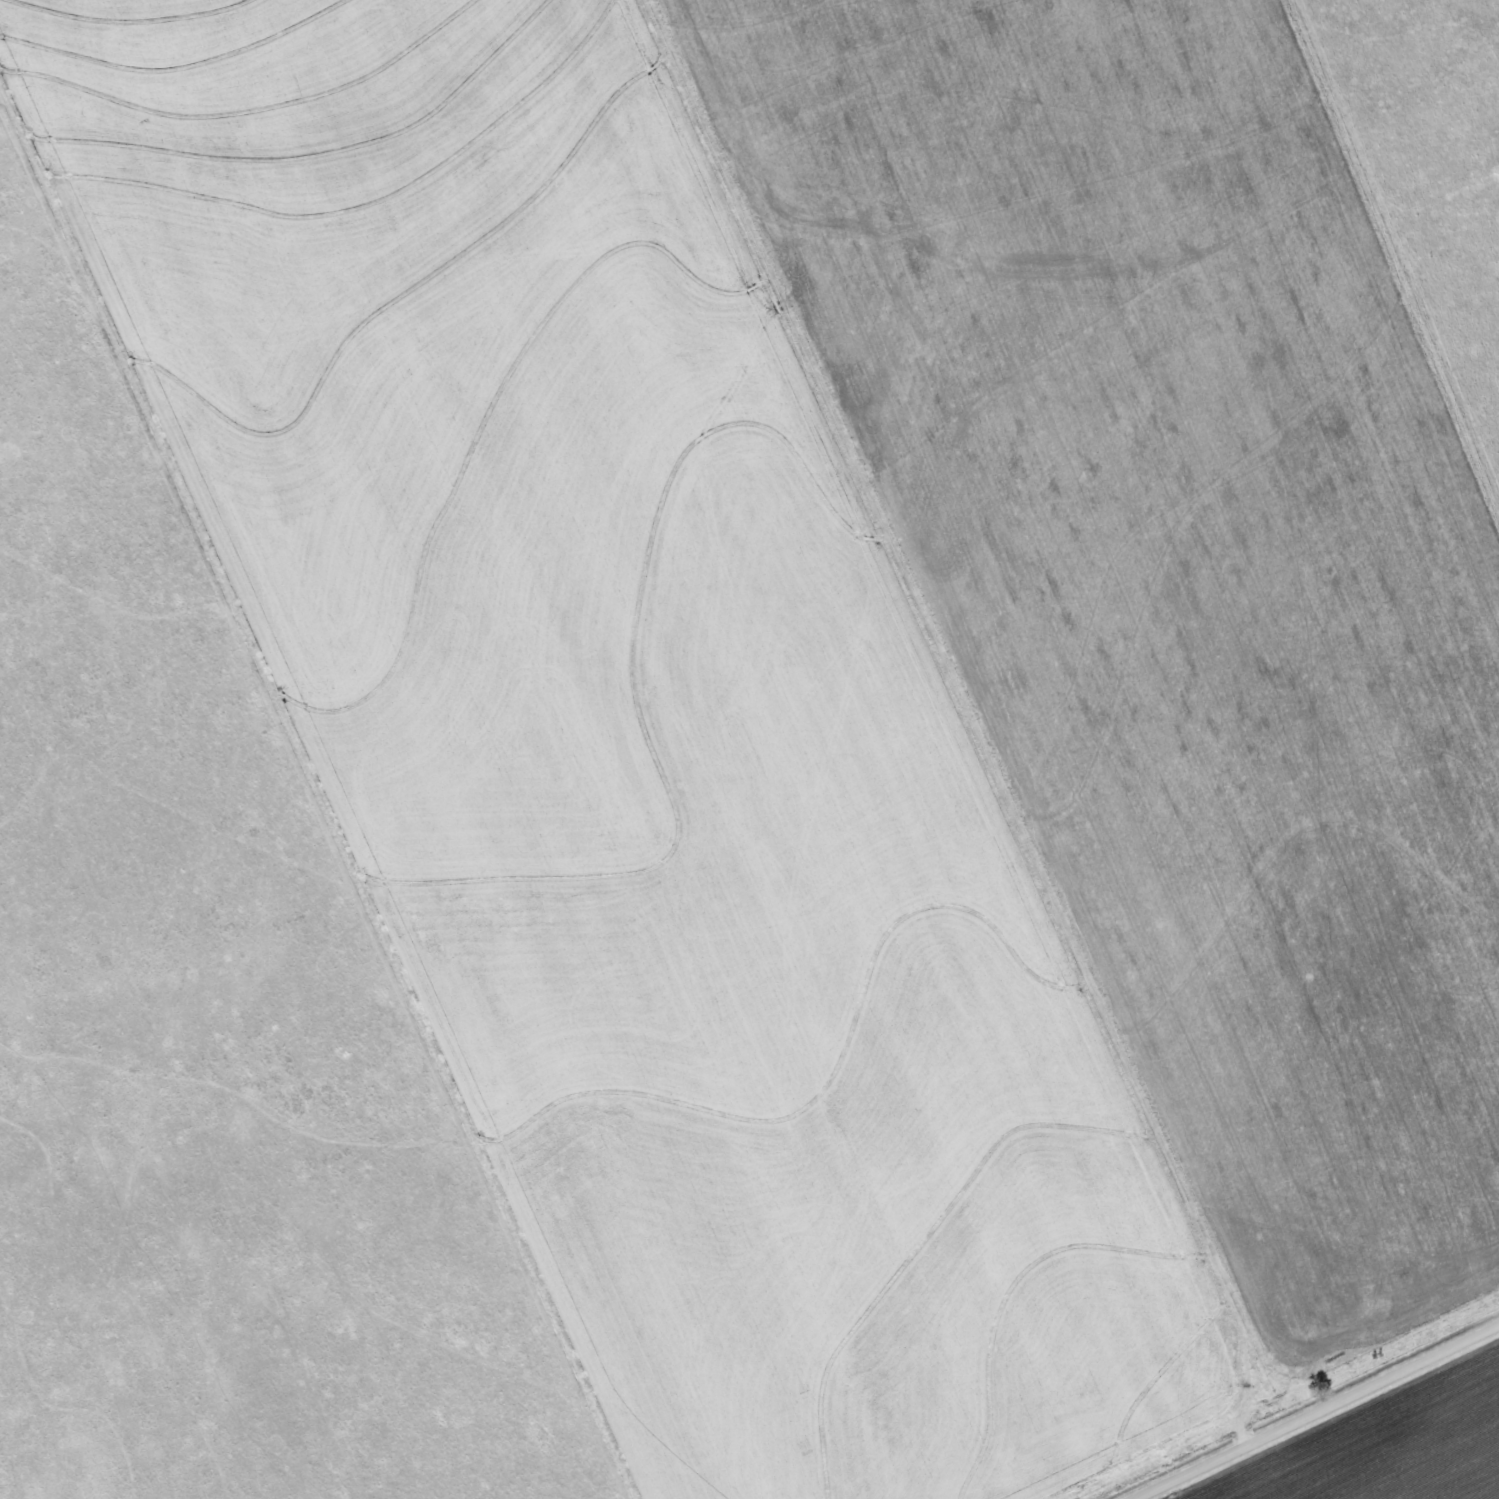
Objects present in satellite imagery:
road: (1310, 1410)

